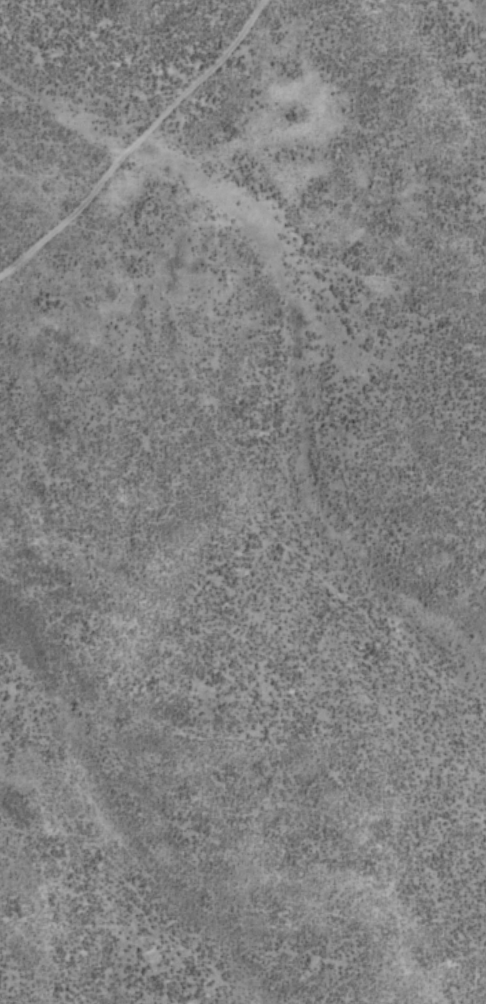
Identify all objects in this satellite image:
road: (139, 145)

